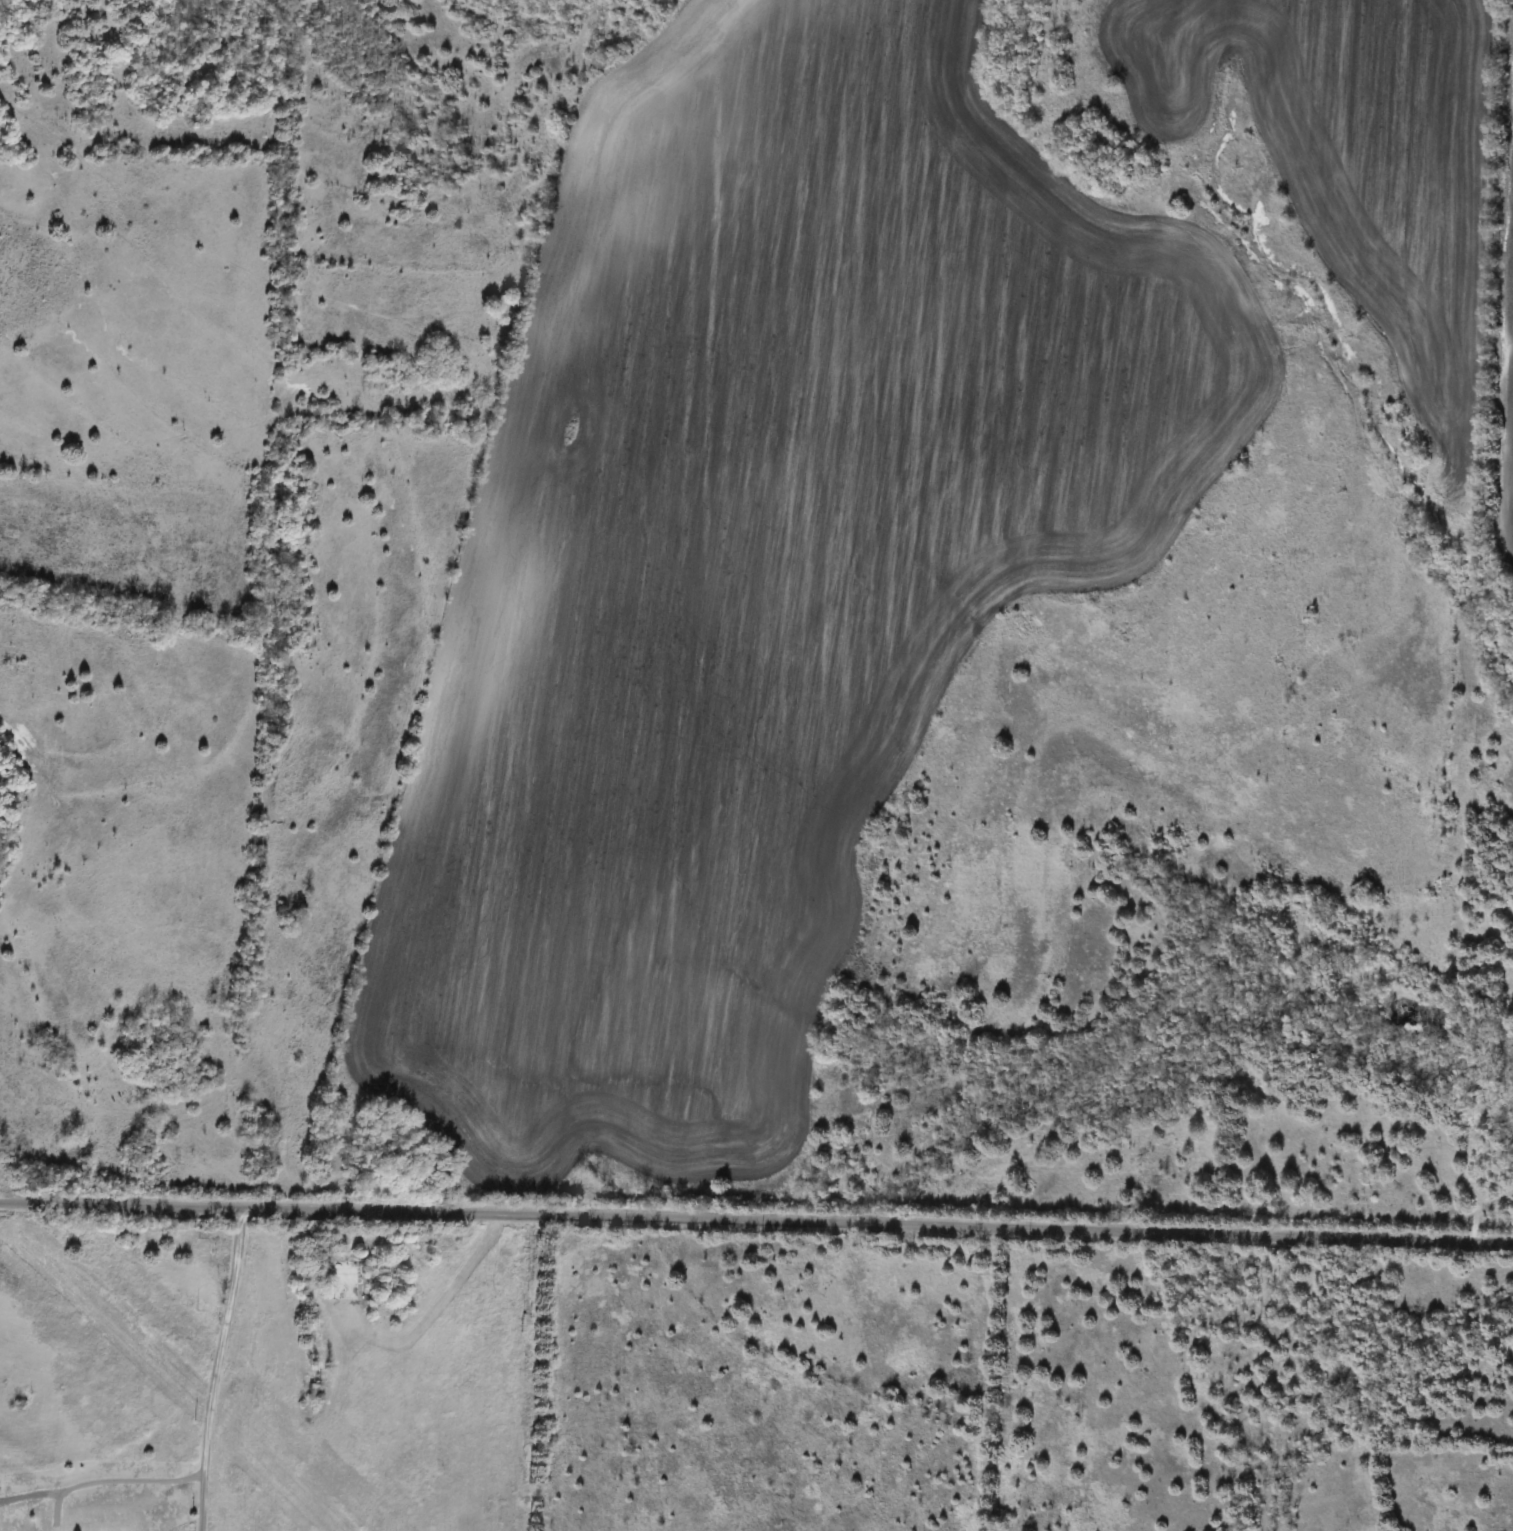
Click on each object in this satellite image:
road: (756, 1220)
building: (346, 1280)
road: (215, 1369)
road: (100, 1480)

